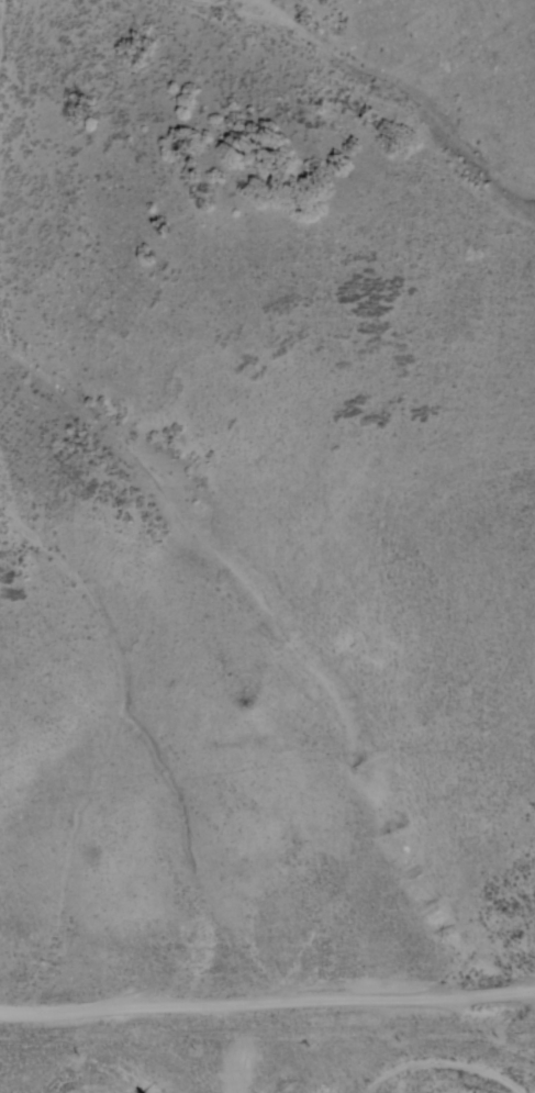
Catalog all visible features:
road: (267, 1005)

